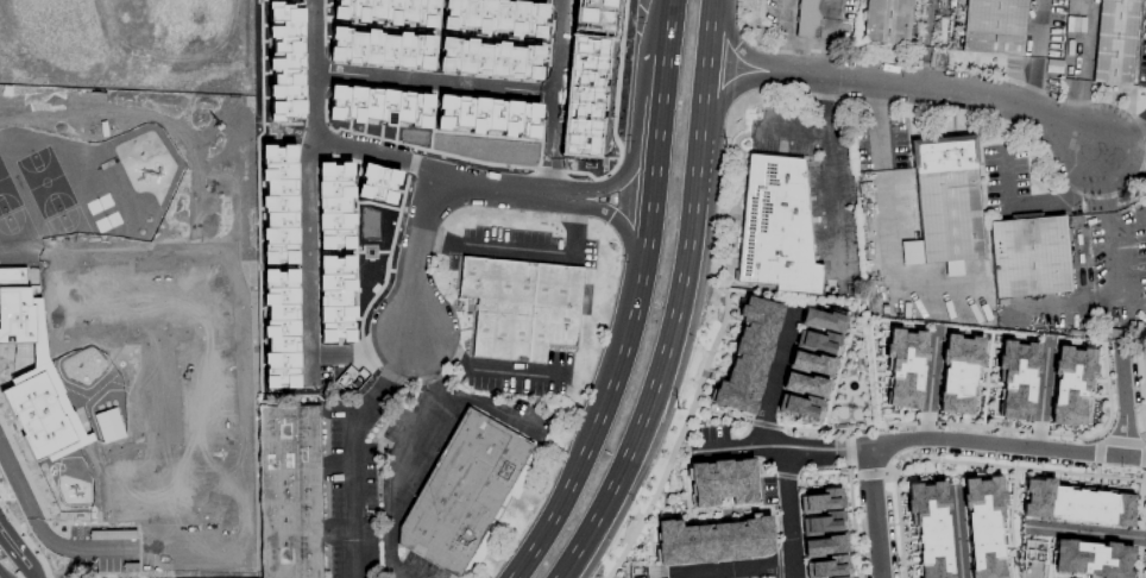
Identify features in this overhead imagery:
building: (385, 11)
building: (495, 15)
building: (808, 18)
building: (887, 20)
building: (994, 26)
road: (783, 39)
building: (1115, 40)
road: (827, 42)
road: (213, 46)
building: (379, 49)
building: (487, 58)
road: (1033, 58)
building: (285, 61)
road: (1077, 68)
road: (315, 69)
road: (435, 83)
road: (914, 90)
road: (555, 96)
building: (378, 106)
building: (486, 117)
road: (876, 122)
road: (792, 132)
road: (1126, 144)
road: (830, 172)
building: (377, 183)
road: (478, 184)
road: (1040, 202)
building: (945, 203)
building: (278, 205)
building: (334, 206)
building: (776, 227)
road: (1108, 228)
road: (521, 249)
road: (414, 253)
building: (1028, 257)
building: (333, 279)
road: (307, 300)
road: (680, 301)
road: (636, 302)
building: (521, 308)
building: (821, 320)
building: (281, 328)
building: (814, 341)
building: (748, 354)
building: (811, 363)
building: (903, 367)
road: (484, 369)
building: (32, 372)
park: (1142, 373)
road: (776, 376)
building: (1015, 378)
building: (804, 384)
building: (1071, 385)
road: (930, 389)
road: (1043, 397)
road: (1122, 402)
building: (799, 406)
road: (1006, 444)
road: (352, 448)
road: (781, 448)
road: (411, 458)
building: (720, 482)
building: (290, 492)
building: (462, 494)
building: (821, 500)
building: (1076, 504)
road: (873, 513)
road: (788, 514)
building: (824, 522)
building: (983, 526)
building: (928, 527)
road: (1083, 530)
road: (957, 534)
road: (49, 539)
building: (712, 541)
building: (823, 546)
road: (17, 559)
building: (1091, 559)
road: (736, 567)
building: (827, 567)
road: (1, 574)
road: (680, 574)

